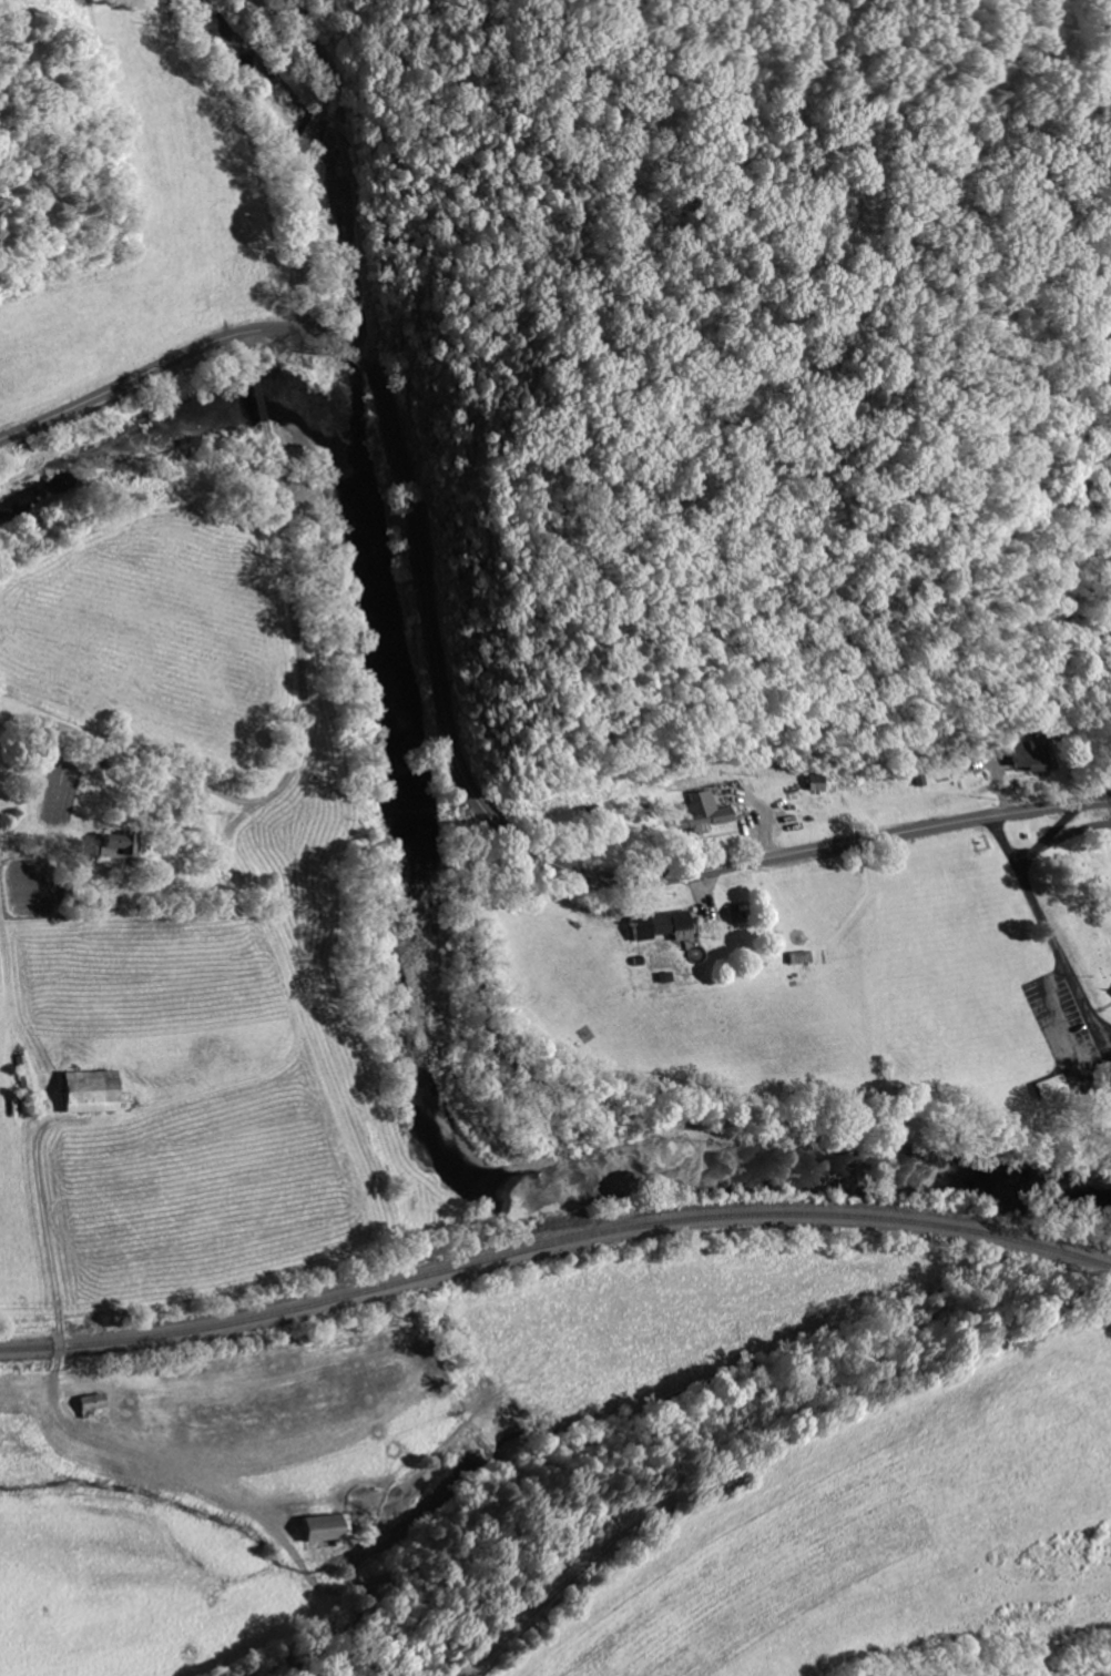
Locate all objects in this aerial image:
road: (305, 144)
road: (302, 709)
road: (447, 711)
building: (761, 788)
building: (174, 823)
road: (1054, 831)
park: (1083, 901)
building: (704, 902)
road: (1053, 930)
railway: (553, 1240)
building: (380, 1505)

